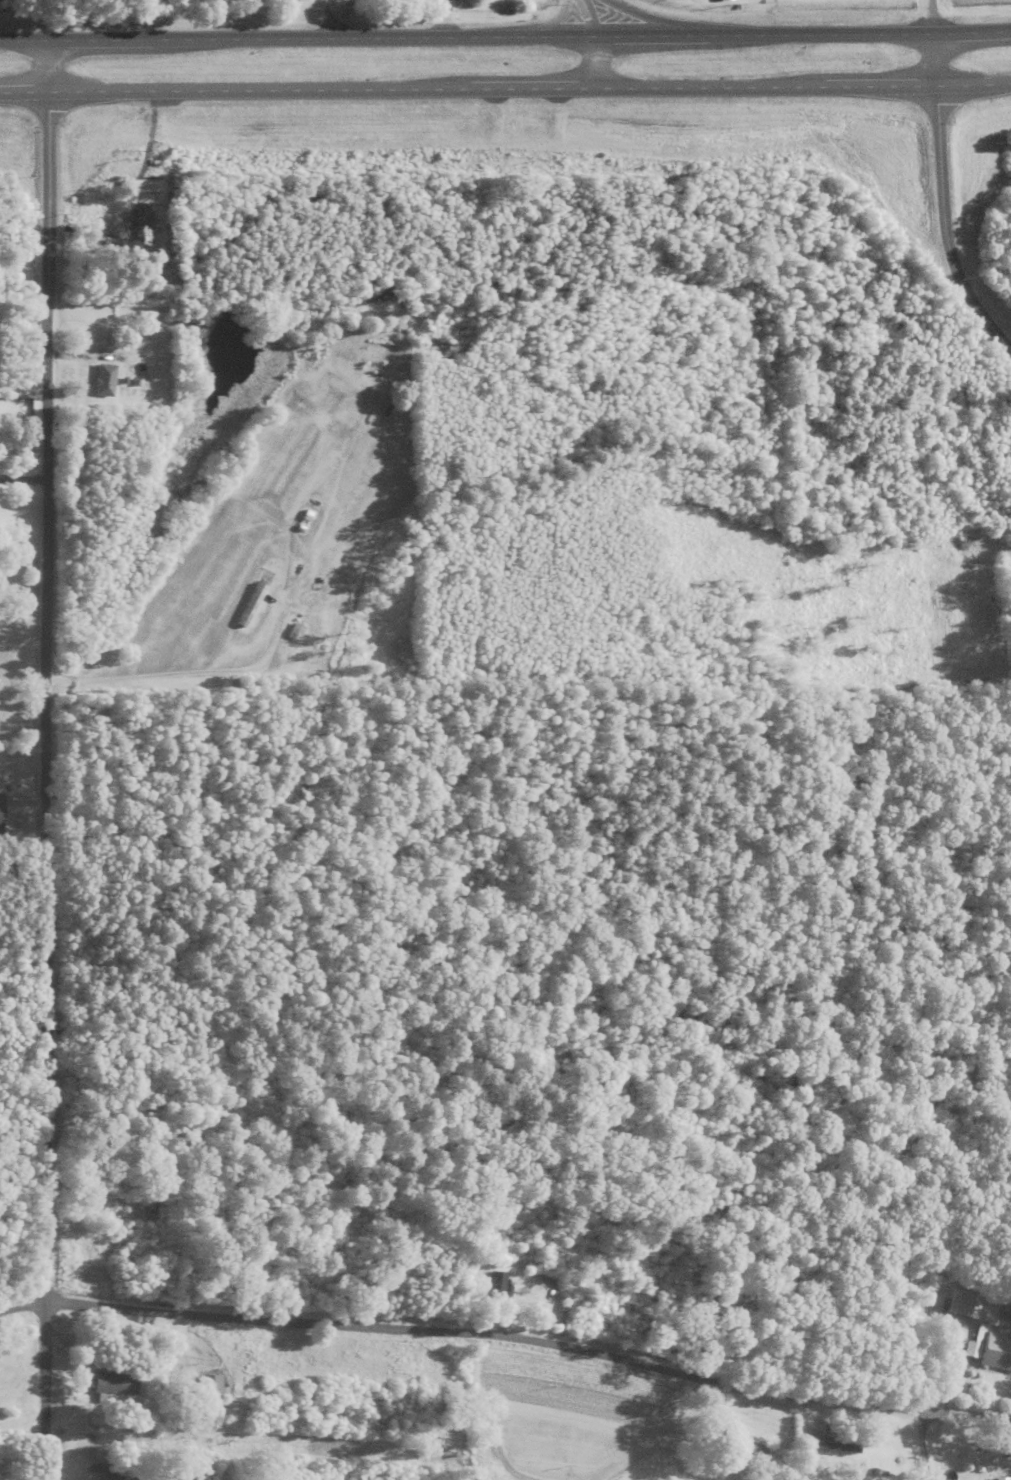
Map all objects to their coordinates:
road: (931, 17)
road: (505, 36)
road: (591, 43)
road: (505, 89)
road: (939, 203)
road: (23, 322)
building: (106, 381)
building: (248, 607)
road: (50, 759)
building: (2, 816)
road: (25, 845)
building: (499, 1287)
road: (508, 1335)
building: (992, 1350)
building: (117, 1386)
building: (211, 1391)
building: (738, 1446)
building: (120, 1476)

